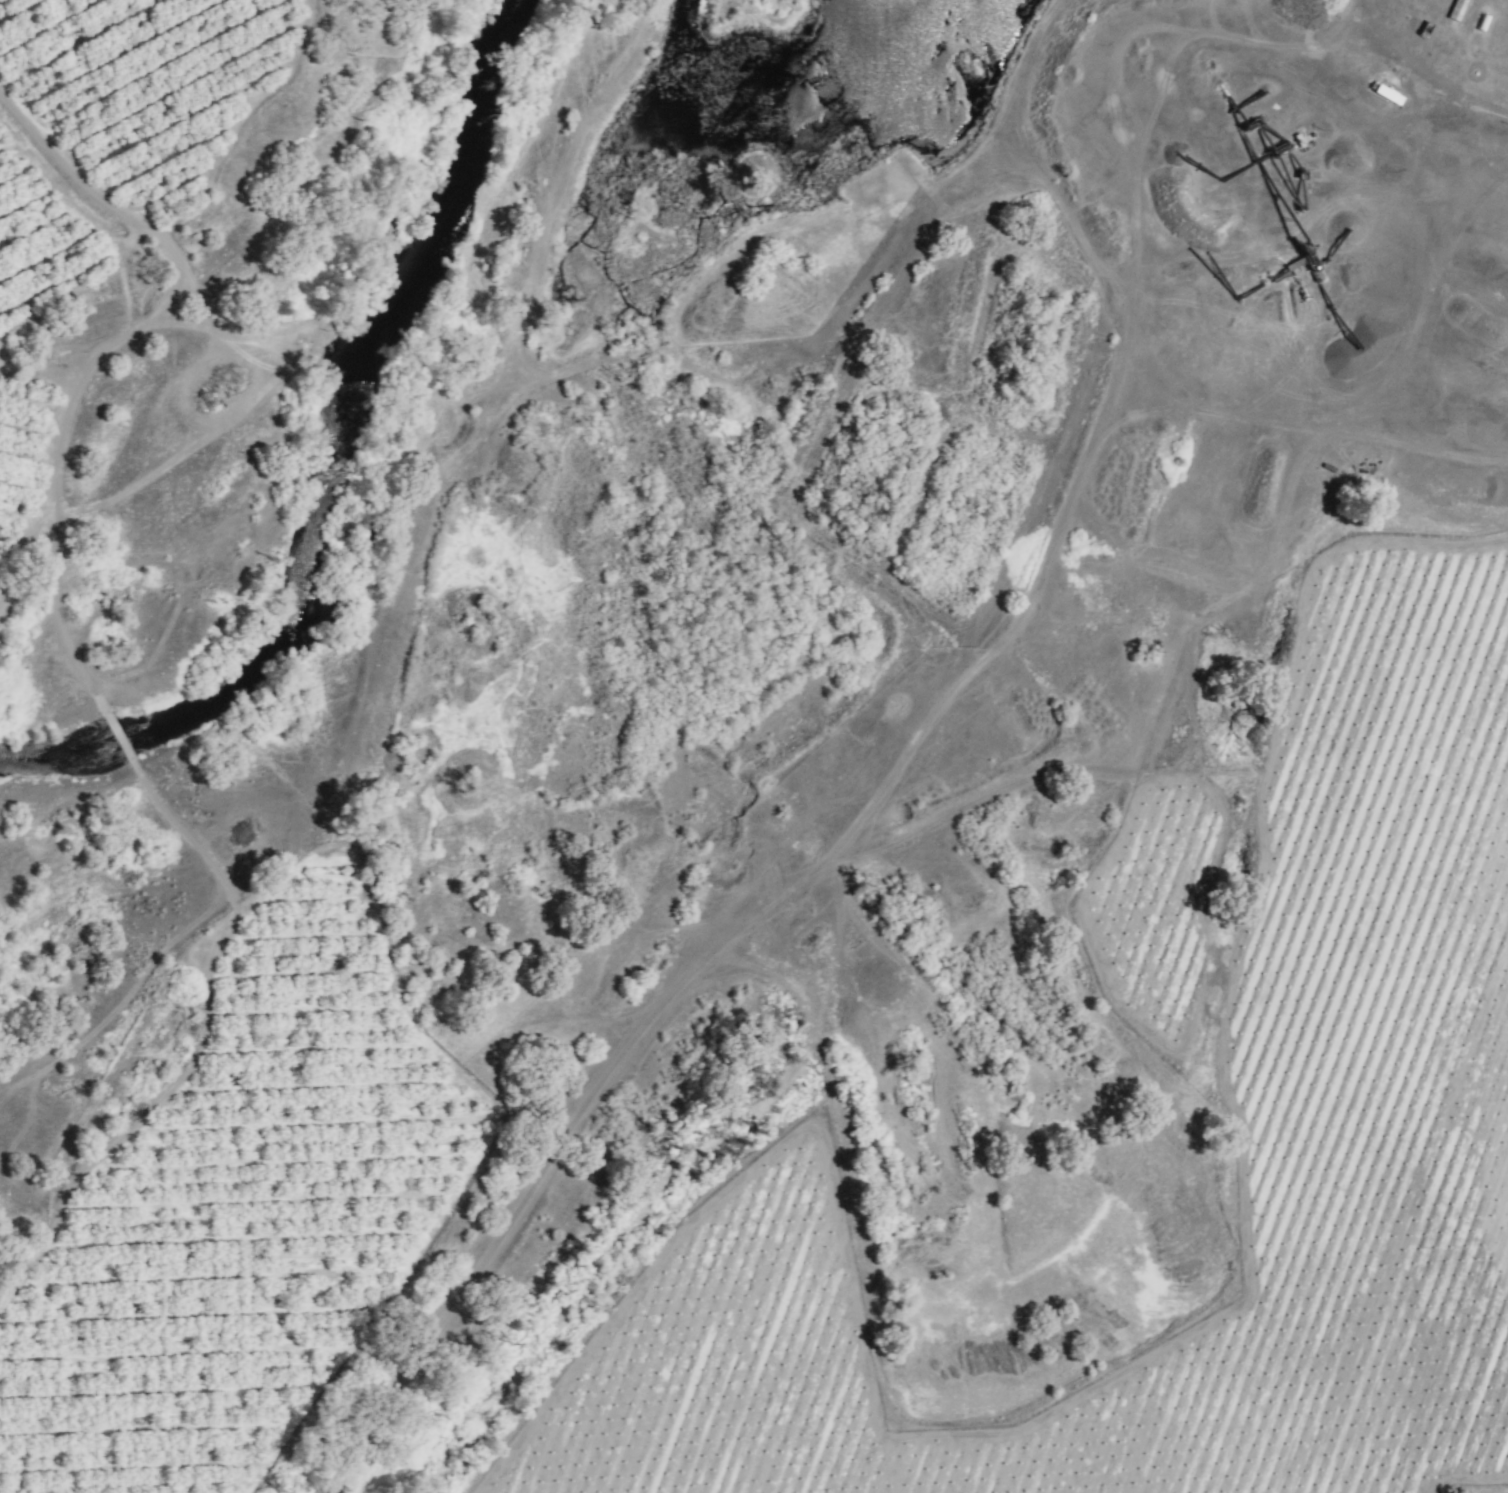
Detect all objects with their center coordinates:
road: (1437, 82)
building: (1388, 96)
crop: (108, 209)
river: (292, 457)
crop: (855, 866)

